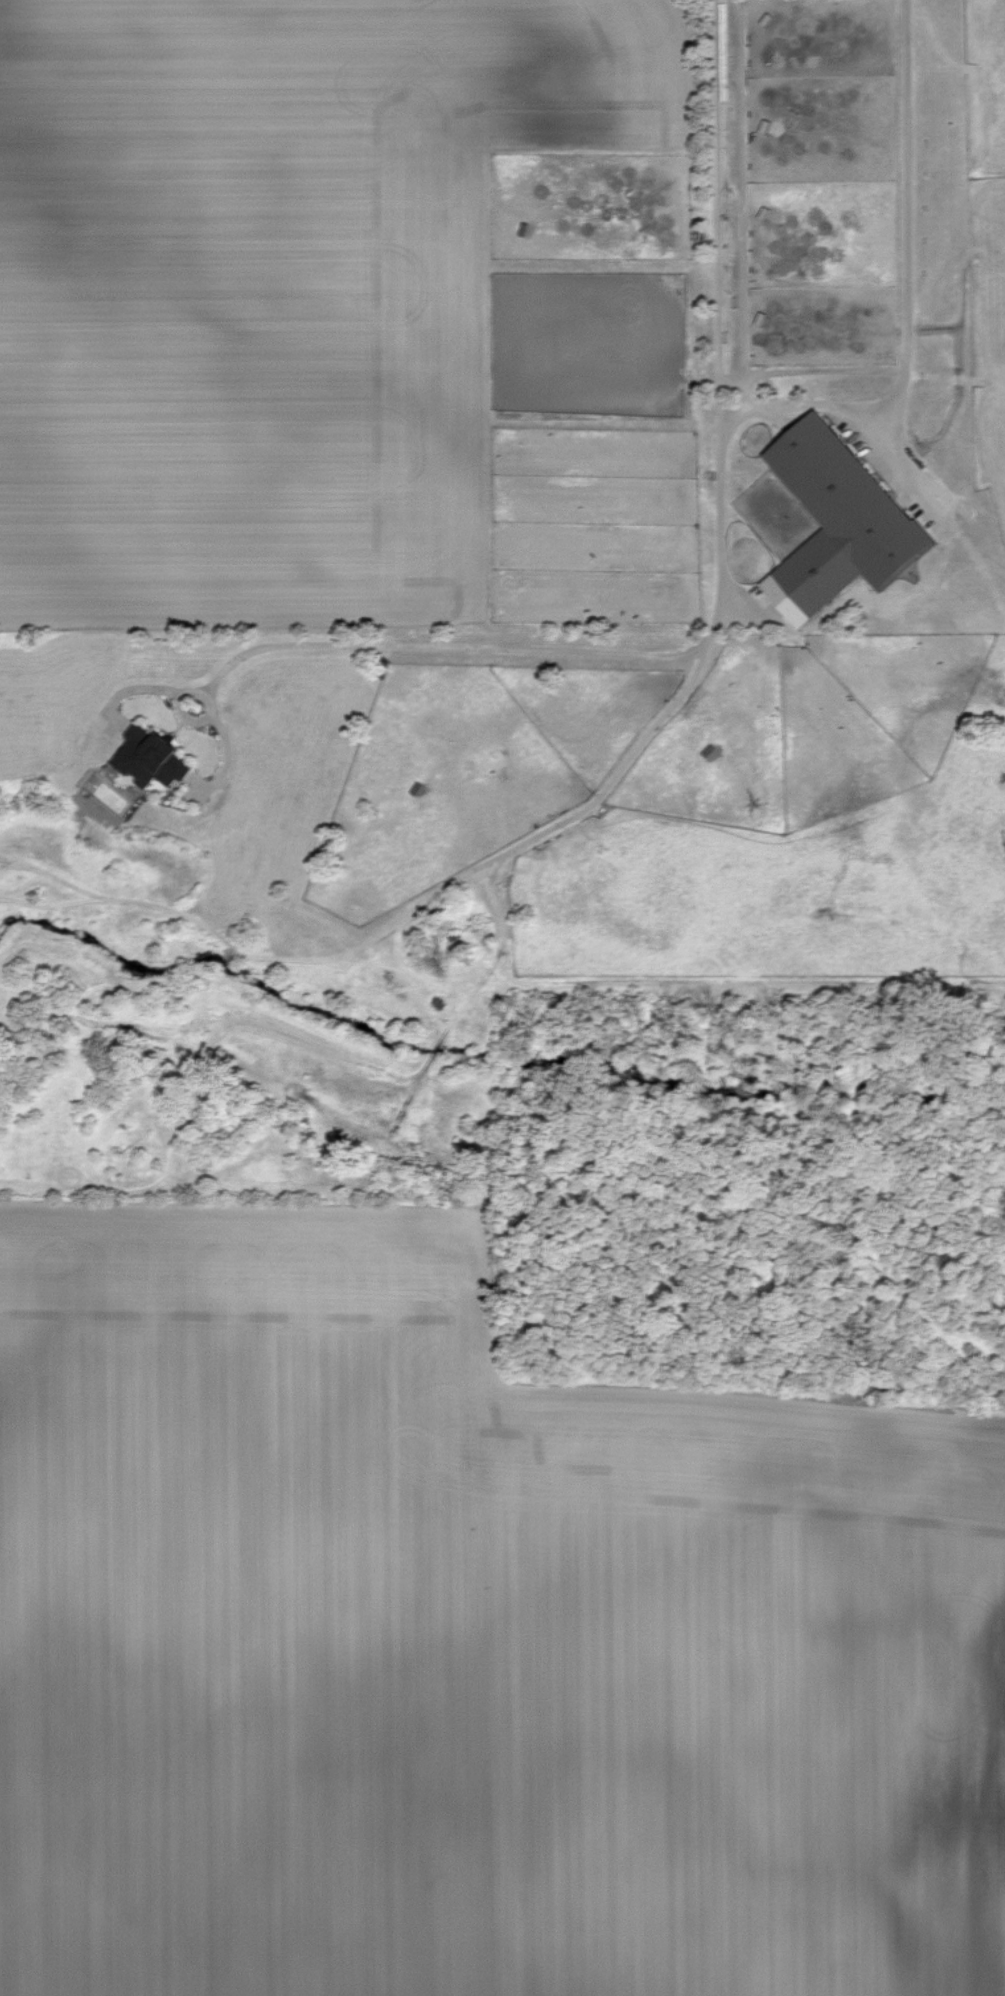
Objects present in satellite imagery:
road: (908, 221)
road: (855, 412)
building: (833, 522)
road: (722, 585)
road: (187, 715)
building: (147, 759)

